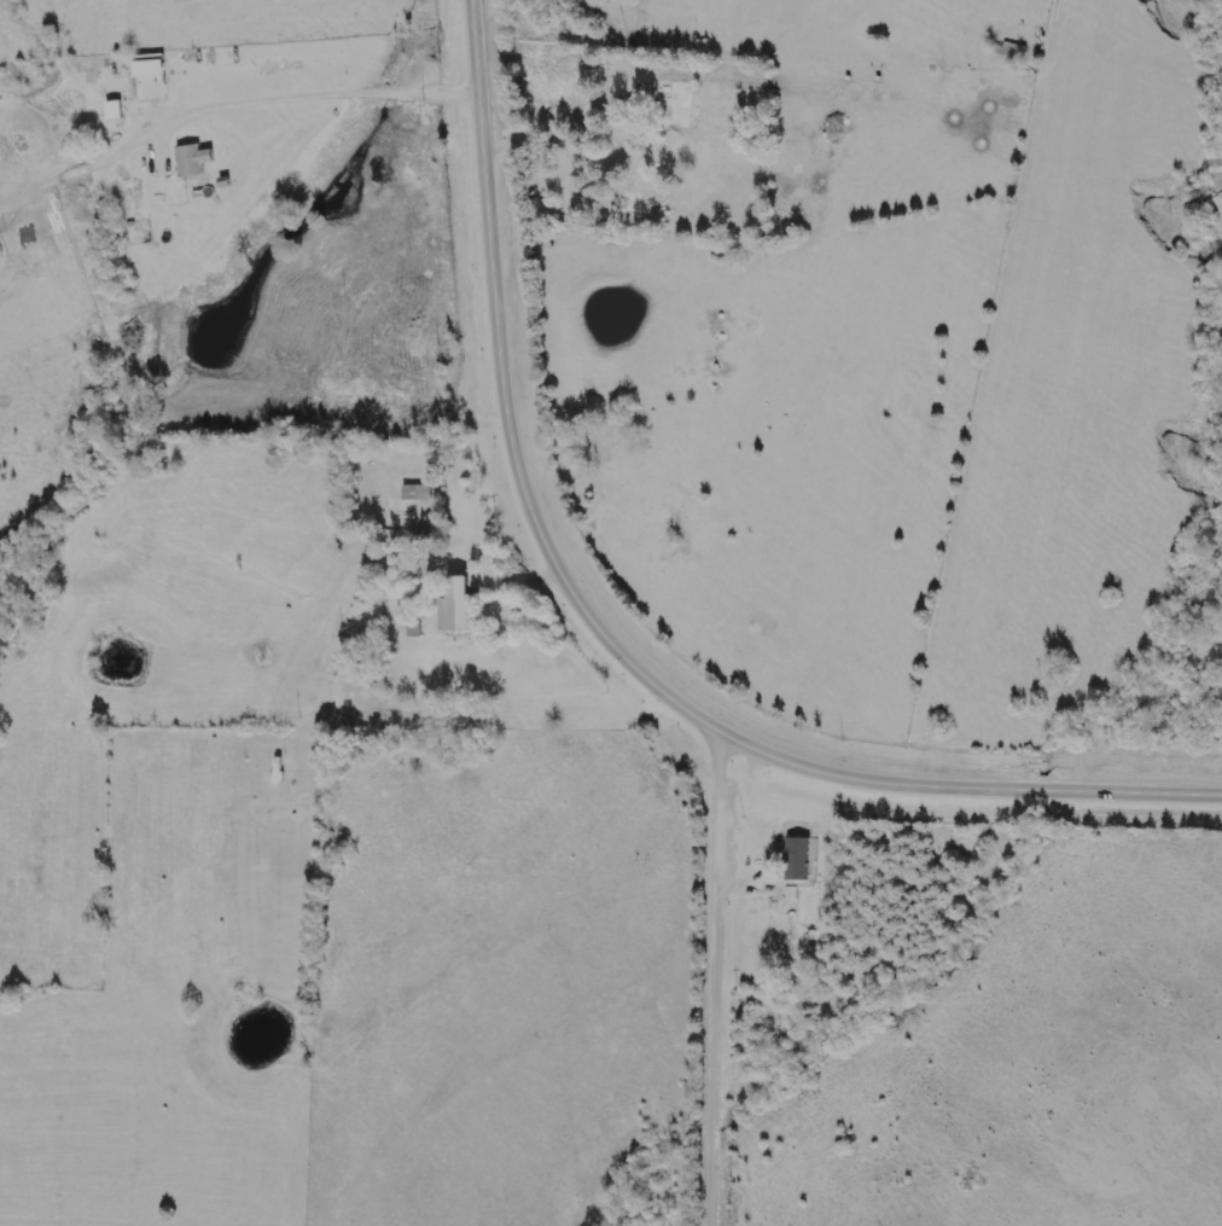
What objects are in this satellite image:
road: (229, 106)
road: (568, 108)
building: (677, 112)
building: (193, 162)
building: (415, 494)
road: (524, 574)
building: (456, 606)
road: (604, 635)
road: (750, 801)
building: (801, 859)
building: (819, 936)
road: (712, 977)

